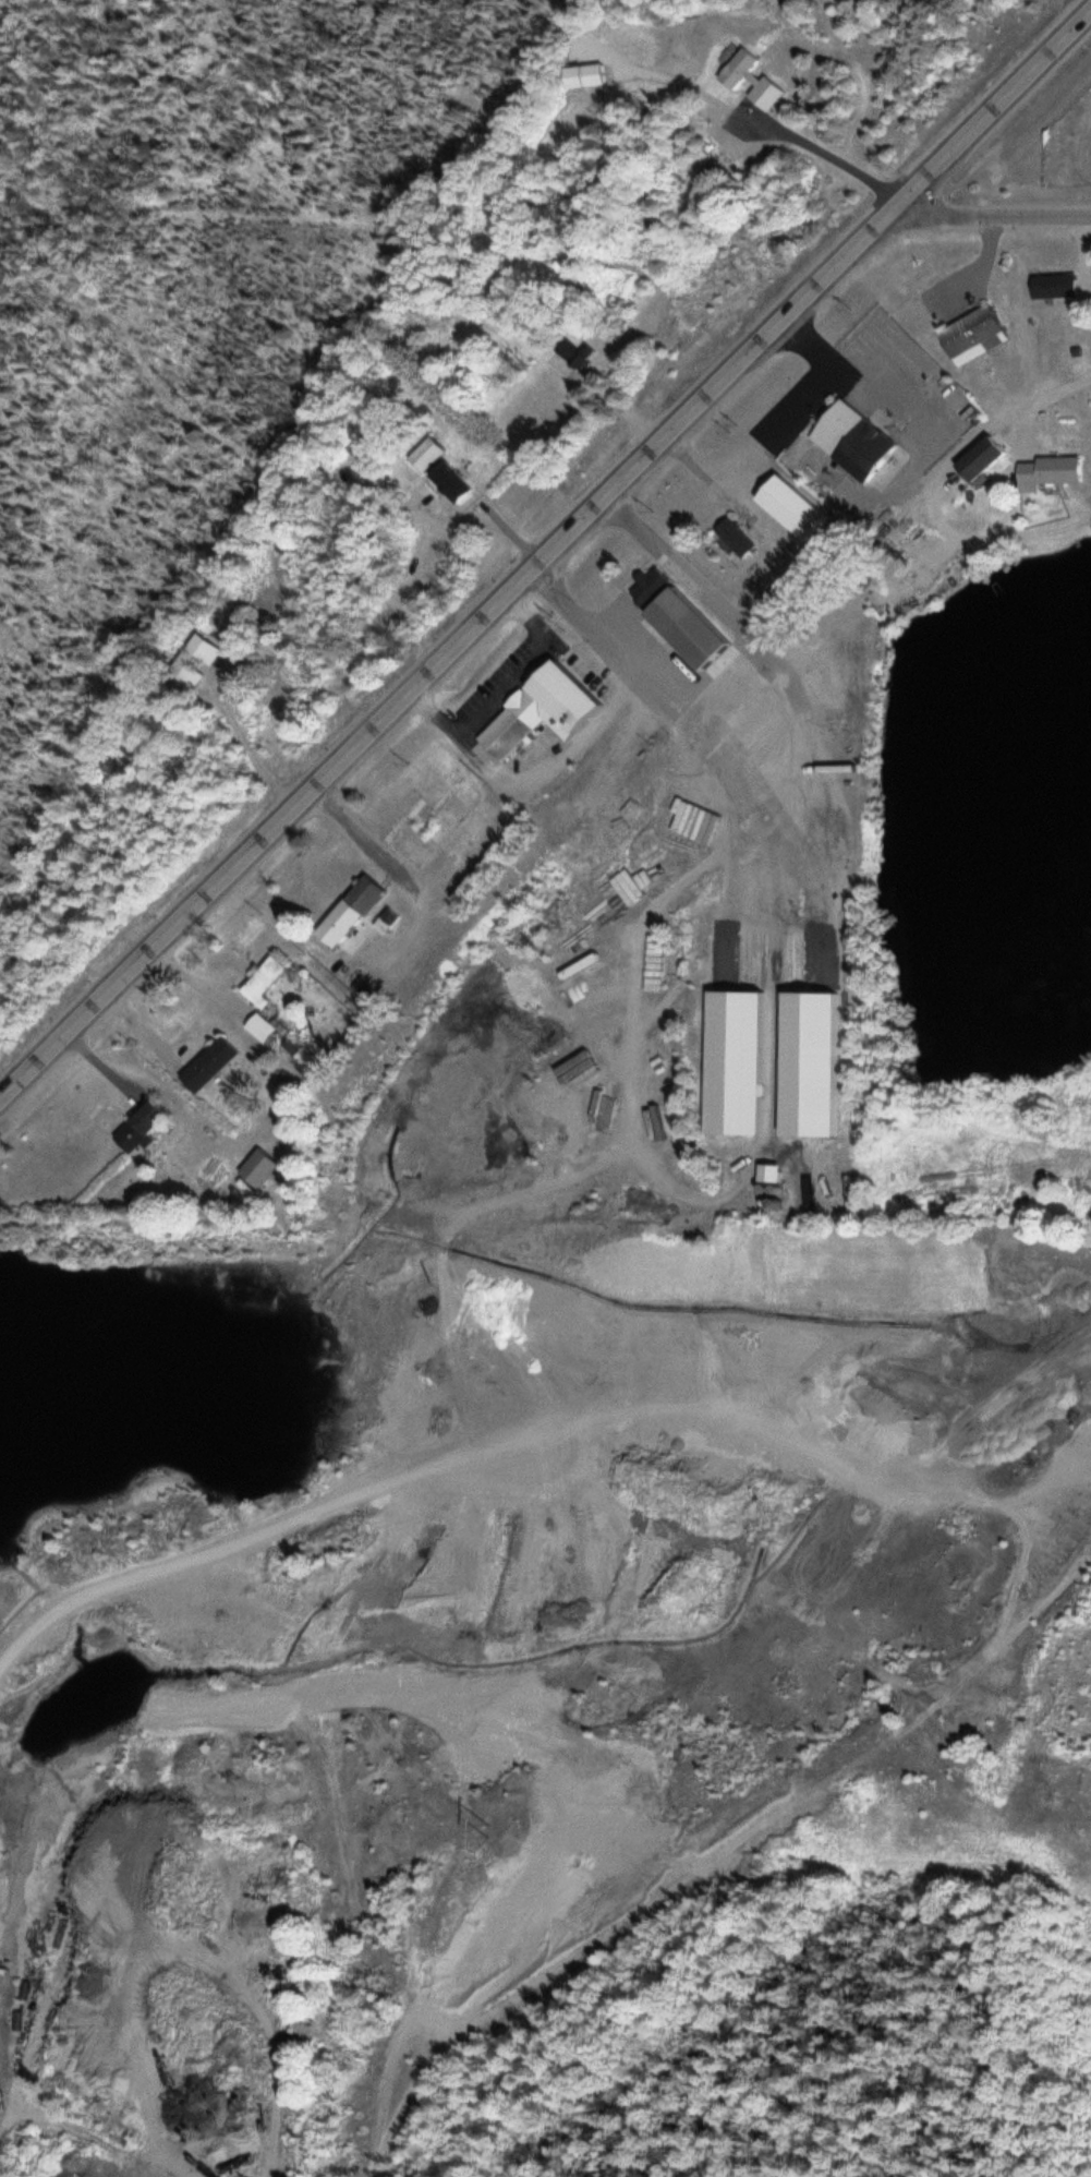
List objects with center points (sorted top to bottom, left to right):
building: (737, 70)
building: (591, 77)
road: (990, 216)
building: (1059, 287)
building: (979, 336)
building: (580, 353)
building: (859, 442)
building: (429, 455)
building: (990, 458)
building: (1054, 472)
building: (740, 538)
road: (546, 560)
building: (654, 587)
building: (244, 629)
building: (696, 629)
building: (199, 661)
building: (549, 710)
building: (435, 829)
building: (357, 916)
building: (393, 924)
building: (317, 963)
building: (267, 983)
building: (266, 1029)
building: (744, 1063)
building: (819, 1065)
building: (213, 1066)
building: (146, 1128)
building: (266, 1168)
building: (780, 1175)
road: (274, 1527)
quarry: (517, 1649)

